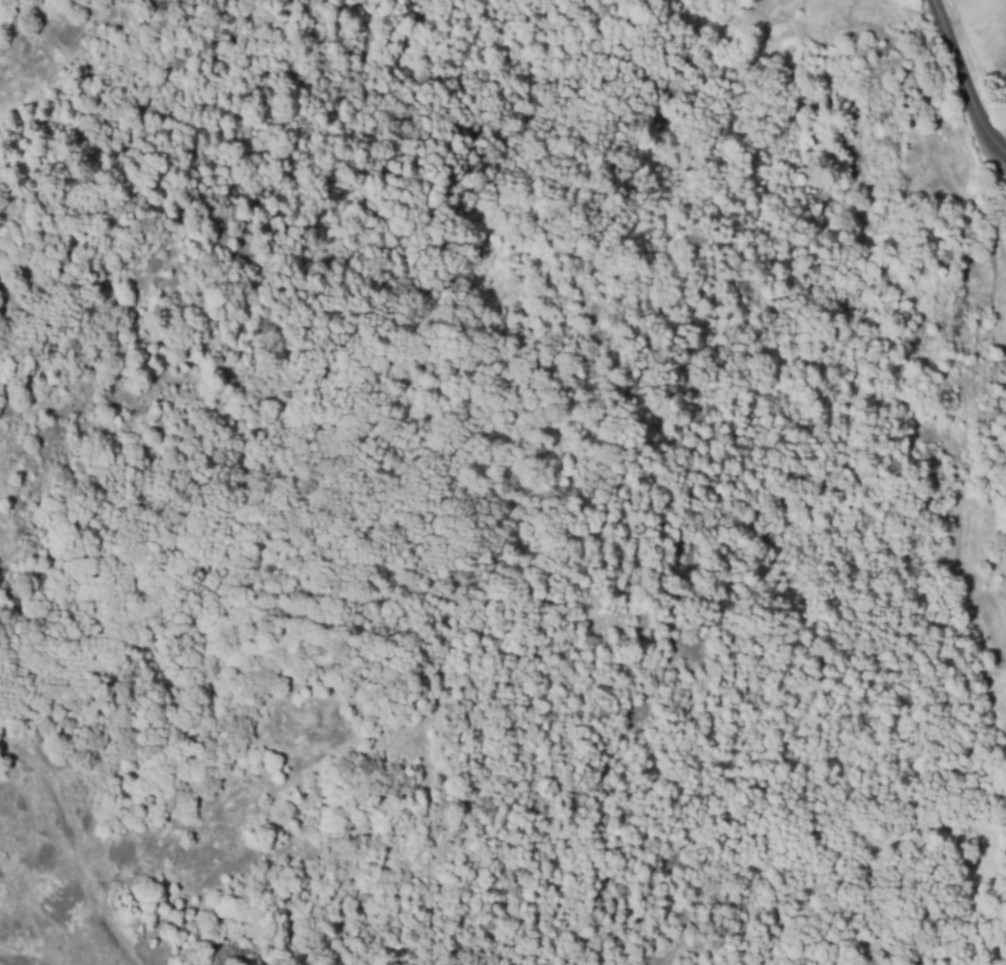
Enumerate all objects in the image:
road: (966, 81)

